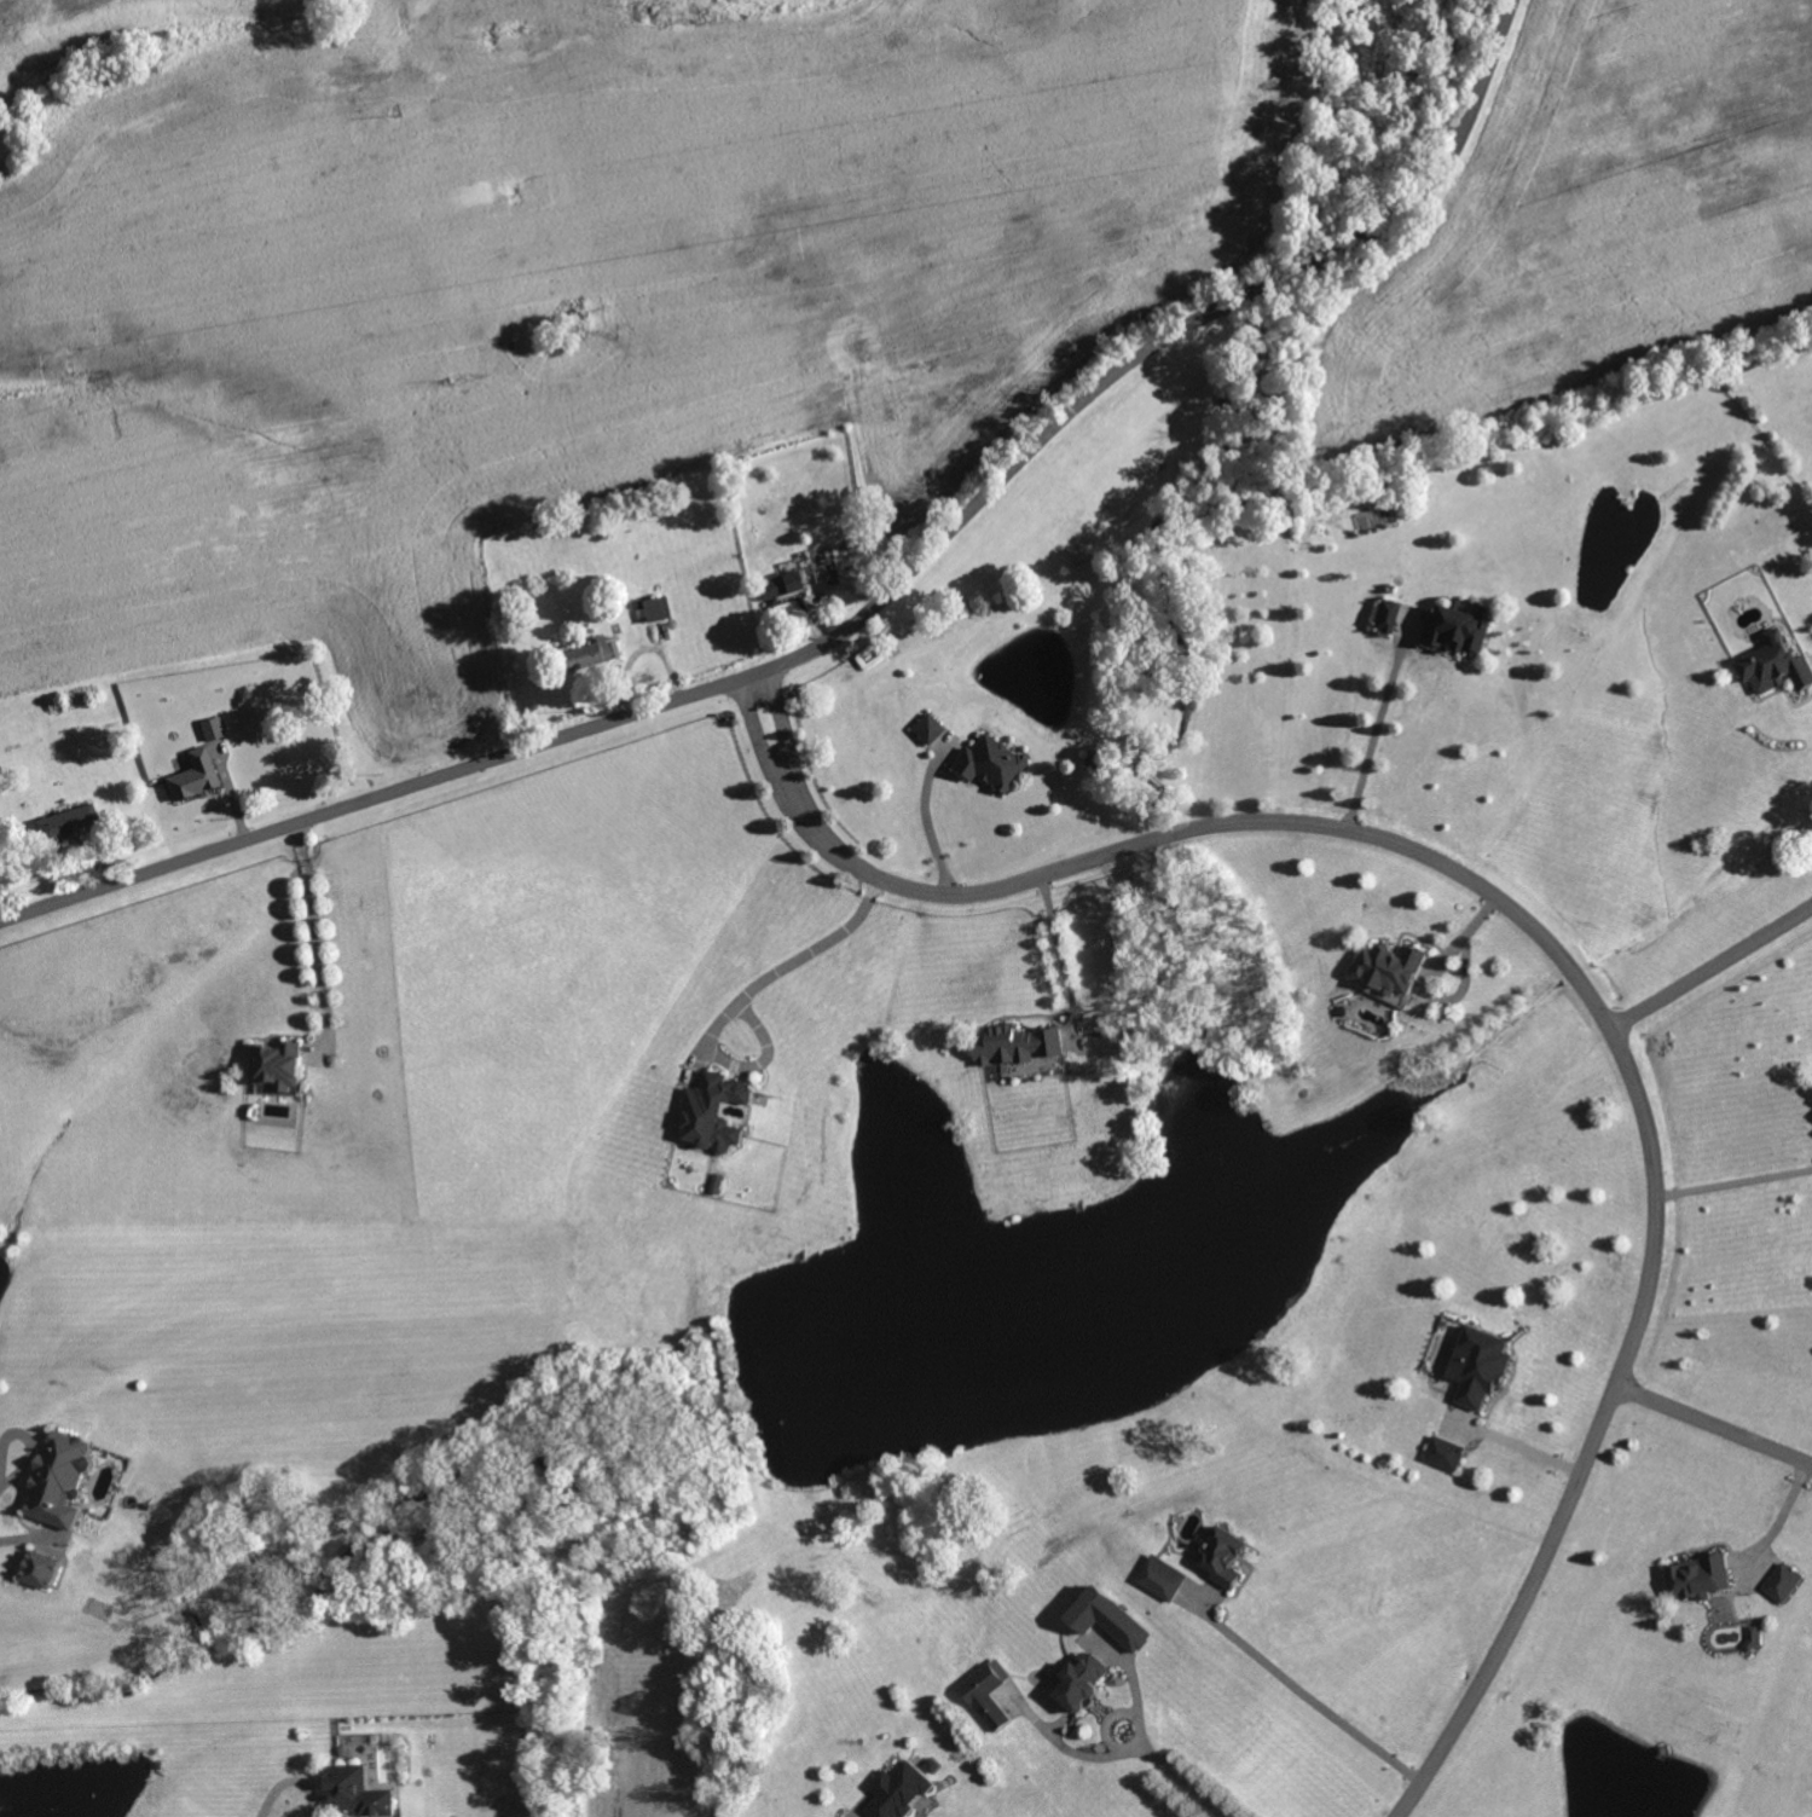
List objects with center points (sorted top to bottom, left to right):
building: (839, 435)
building: (824, 555)
building: (783, 585)
building: (658, 609)
road: (867, 614)
building: (1387, 615)
building: (1457, 627)
building: (592, 653)
building: (869, 658)
building: (1776, 666)
building: (213, 727)
building: (930, 729)
road: (1376, 733)
building: (992, 764)
building: (195, 776)
road: (920, 811)
building: (65, 823)
road: (312, 926)
road: (1557, 941)
road: (806, 953)
road: (1054, 953)
road: (1704, 961)
building: (1390, 968)
building: (1017, 1046)
building: (279, 1065)
building: (714, 1112)
road: (1735, 1185)
building: (1480, 1367)
road: (1715, 1423)
road: (1513, 1442)
building: (1446, 1454)
road: (4, 1459)
building: (60, 1481)
road: (1772, 1515)
building: (1225, 1557)
building: (42, 1570)
building: (1700, 1578)
building: (1162, 1579)
building: (1784, 1582)
building: (1110, 1621)
building: (1753, 1639)
building: (1082, 1684)
road: (1304, 1692)
building: (988, 1695)
road: (1144, 1744)
pier: (1663, 1751)
building: (932, 1766)
road: (290, 1782)
building: (901, 1792)
building: (358, 1793)

